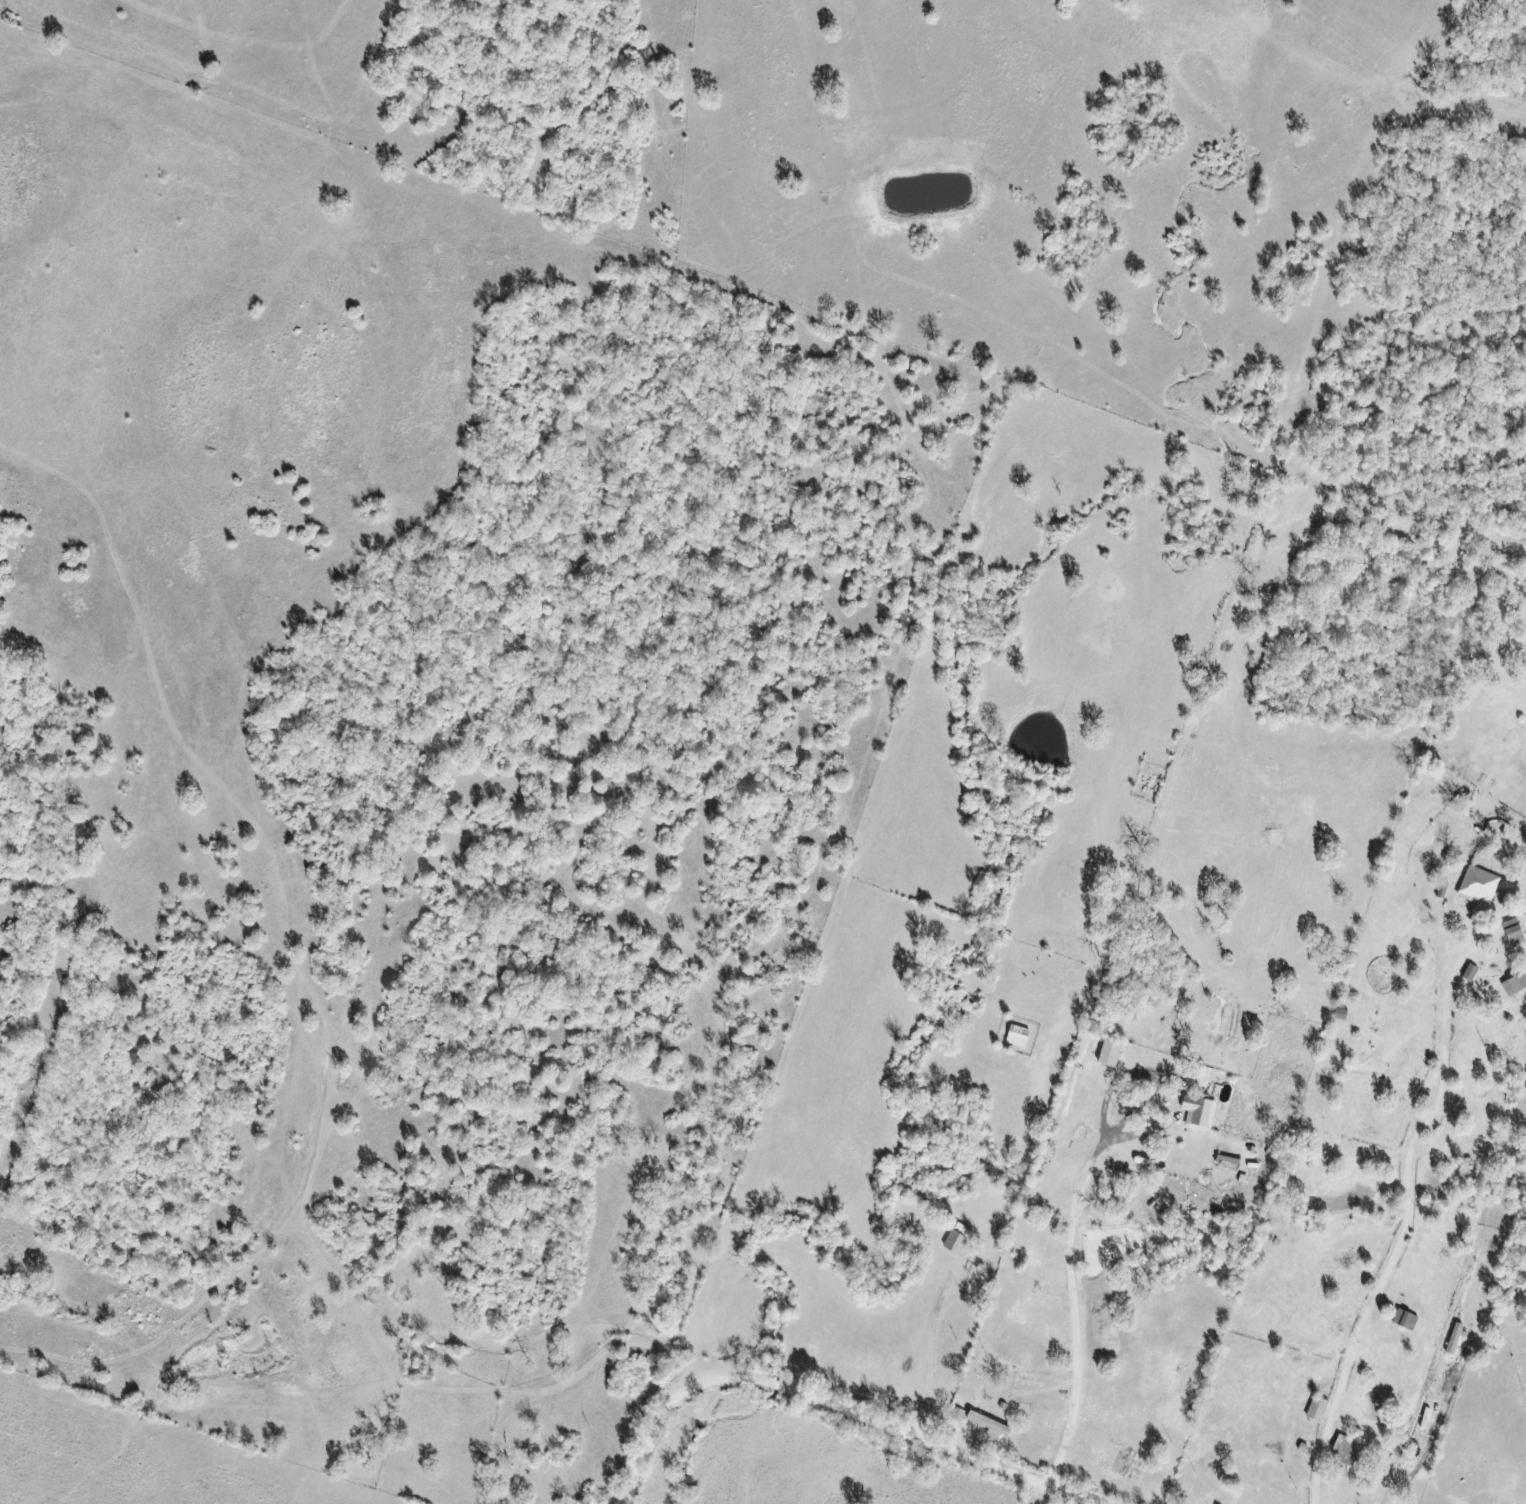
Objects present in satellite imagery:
building: (1480, 886)
building: (1515, 984)
building: (1019, 1036)
building: (1112, 1052)
building: (1200, 1112)
building: (959, 1239)
road: (827, 1405)
building: (1318, 1409)
building: (991, 1425)
building: (1348, 1451)

